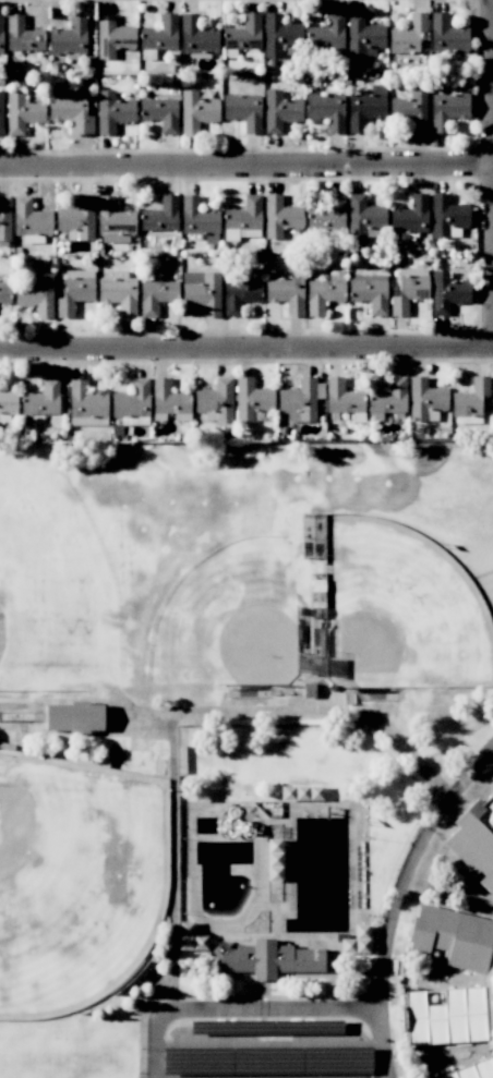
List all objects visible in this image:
building: (15, 24)
building: (327, 32)
building: (280, 110)
building: (113, 111)
building: (22, 117)
road: (246, 170)
building: (327, 216)
building: (363, 216)
building: (416, 289)
building: (320, 290)
building: (446, 292)
building: (156, 296)
road: (246, 350)
building: (344, 397)
building: (8, 401)
building: (492, 407)
road: (406, 869)
building: (452, 937)
road: (264, 1007)
building: (445, 1016)
road: (266, 1045)
road: (269, 1077)

